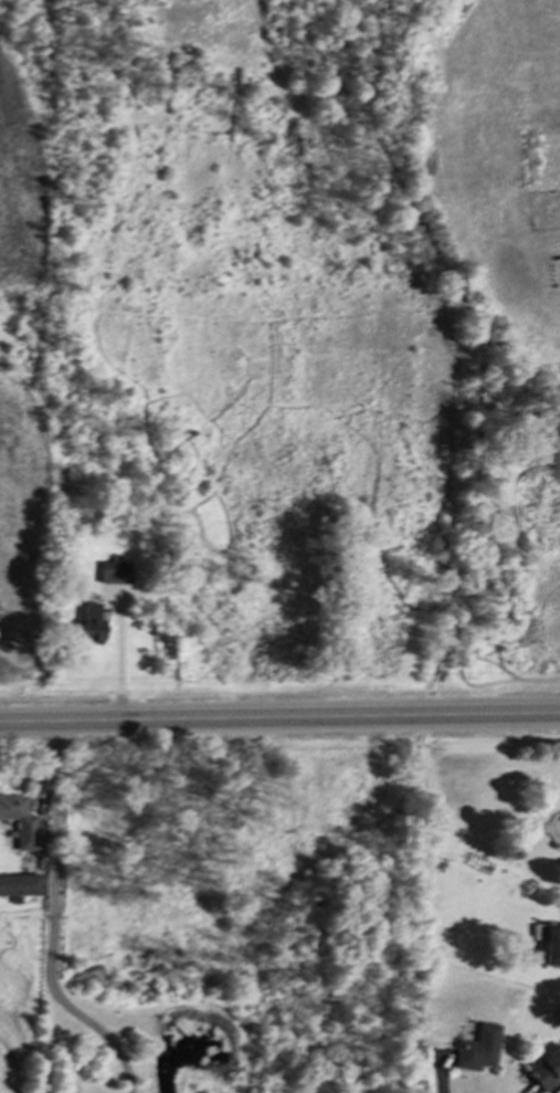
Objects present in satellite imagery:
crop: (27, 341)
building: (113, 570)
building: (91, 621)
road: (120, 649)
road: (279, 717)
building: (20, 820)
building: (20, 883)
road: (51, 923)
building: (550, 944)
building: (476, 1048)
building: (546, 1069)
road: (559, 1092)

